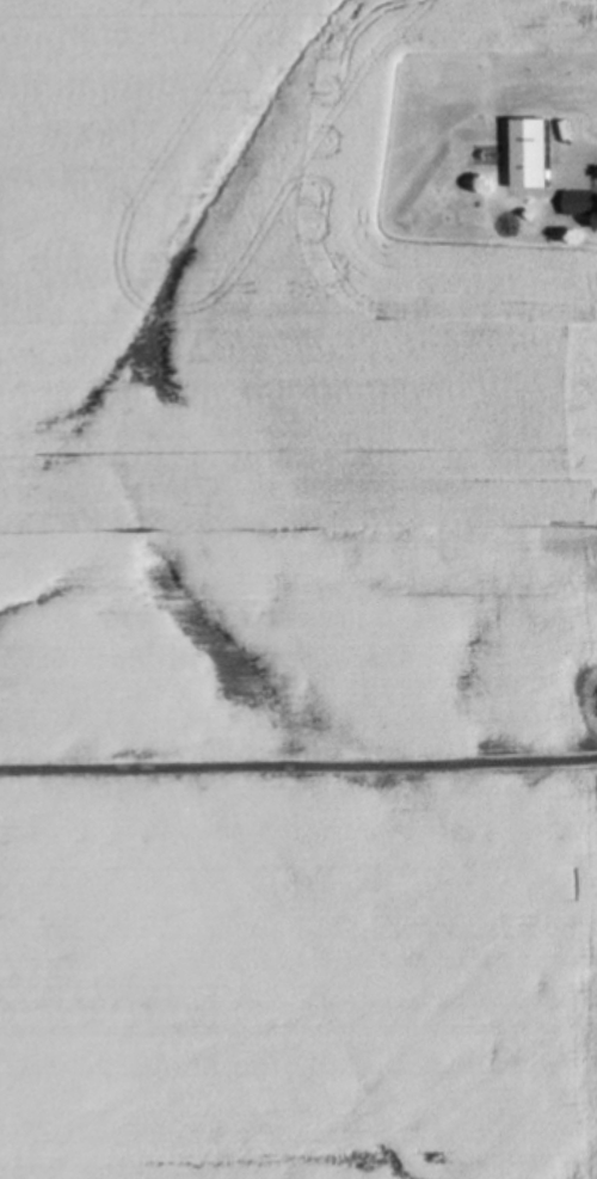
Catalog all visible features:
building: (535, 153)
building: (583, 203)
road: (298, 762)

